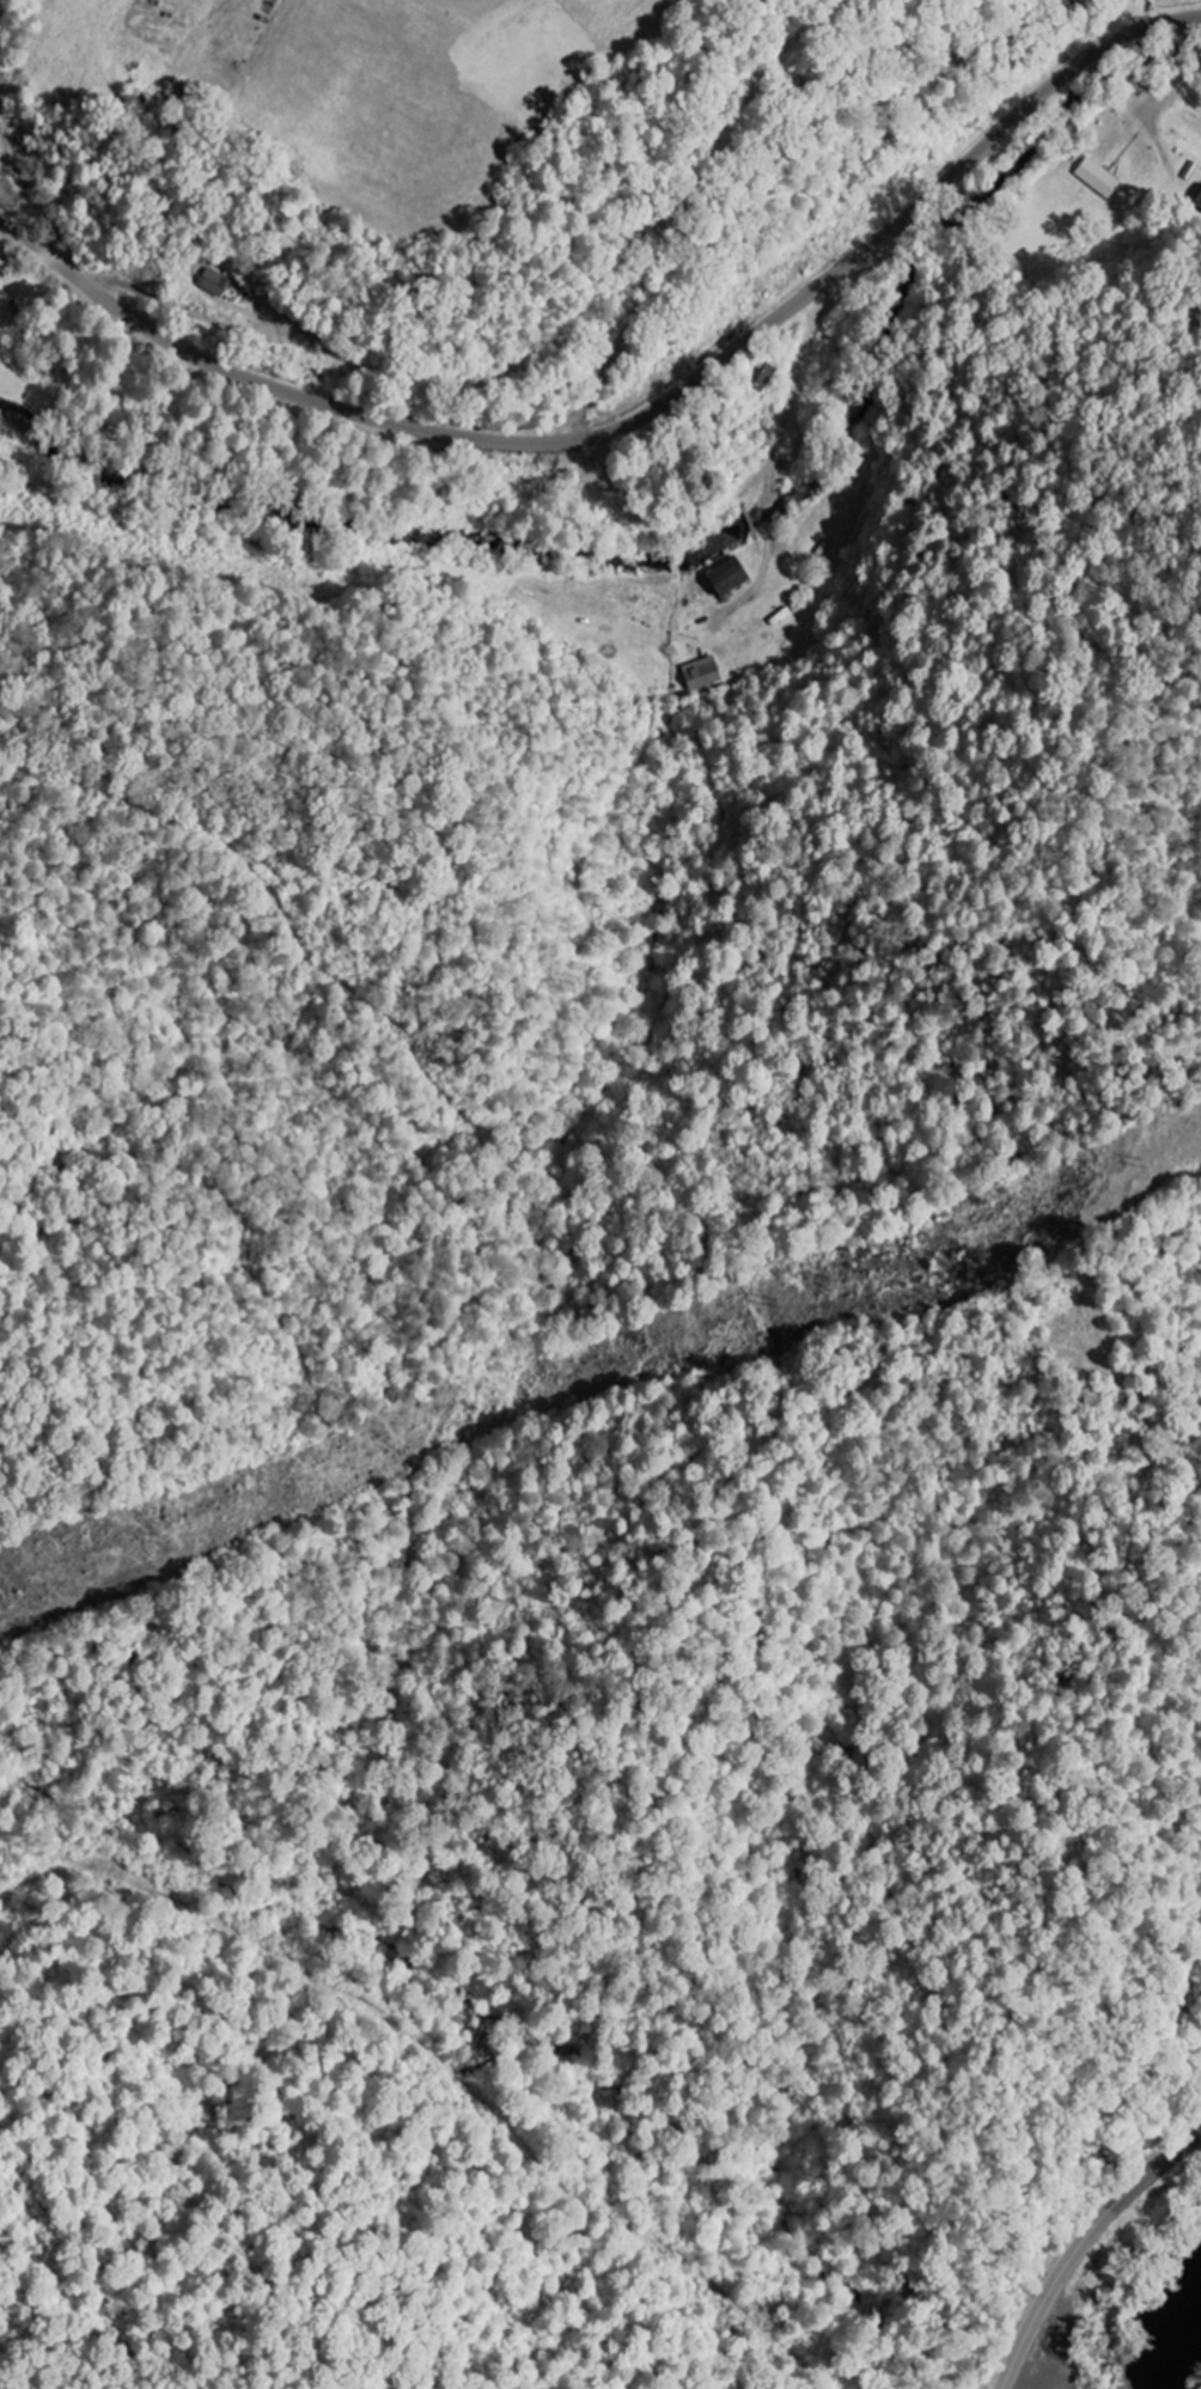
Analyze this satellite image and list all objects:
building: (1199, 199)
building: (218, 282)
road: (636, 420)
building: (737, 575)
building: (702, 672)
road: (1083, 2245)
river: (1178, 2335)

